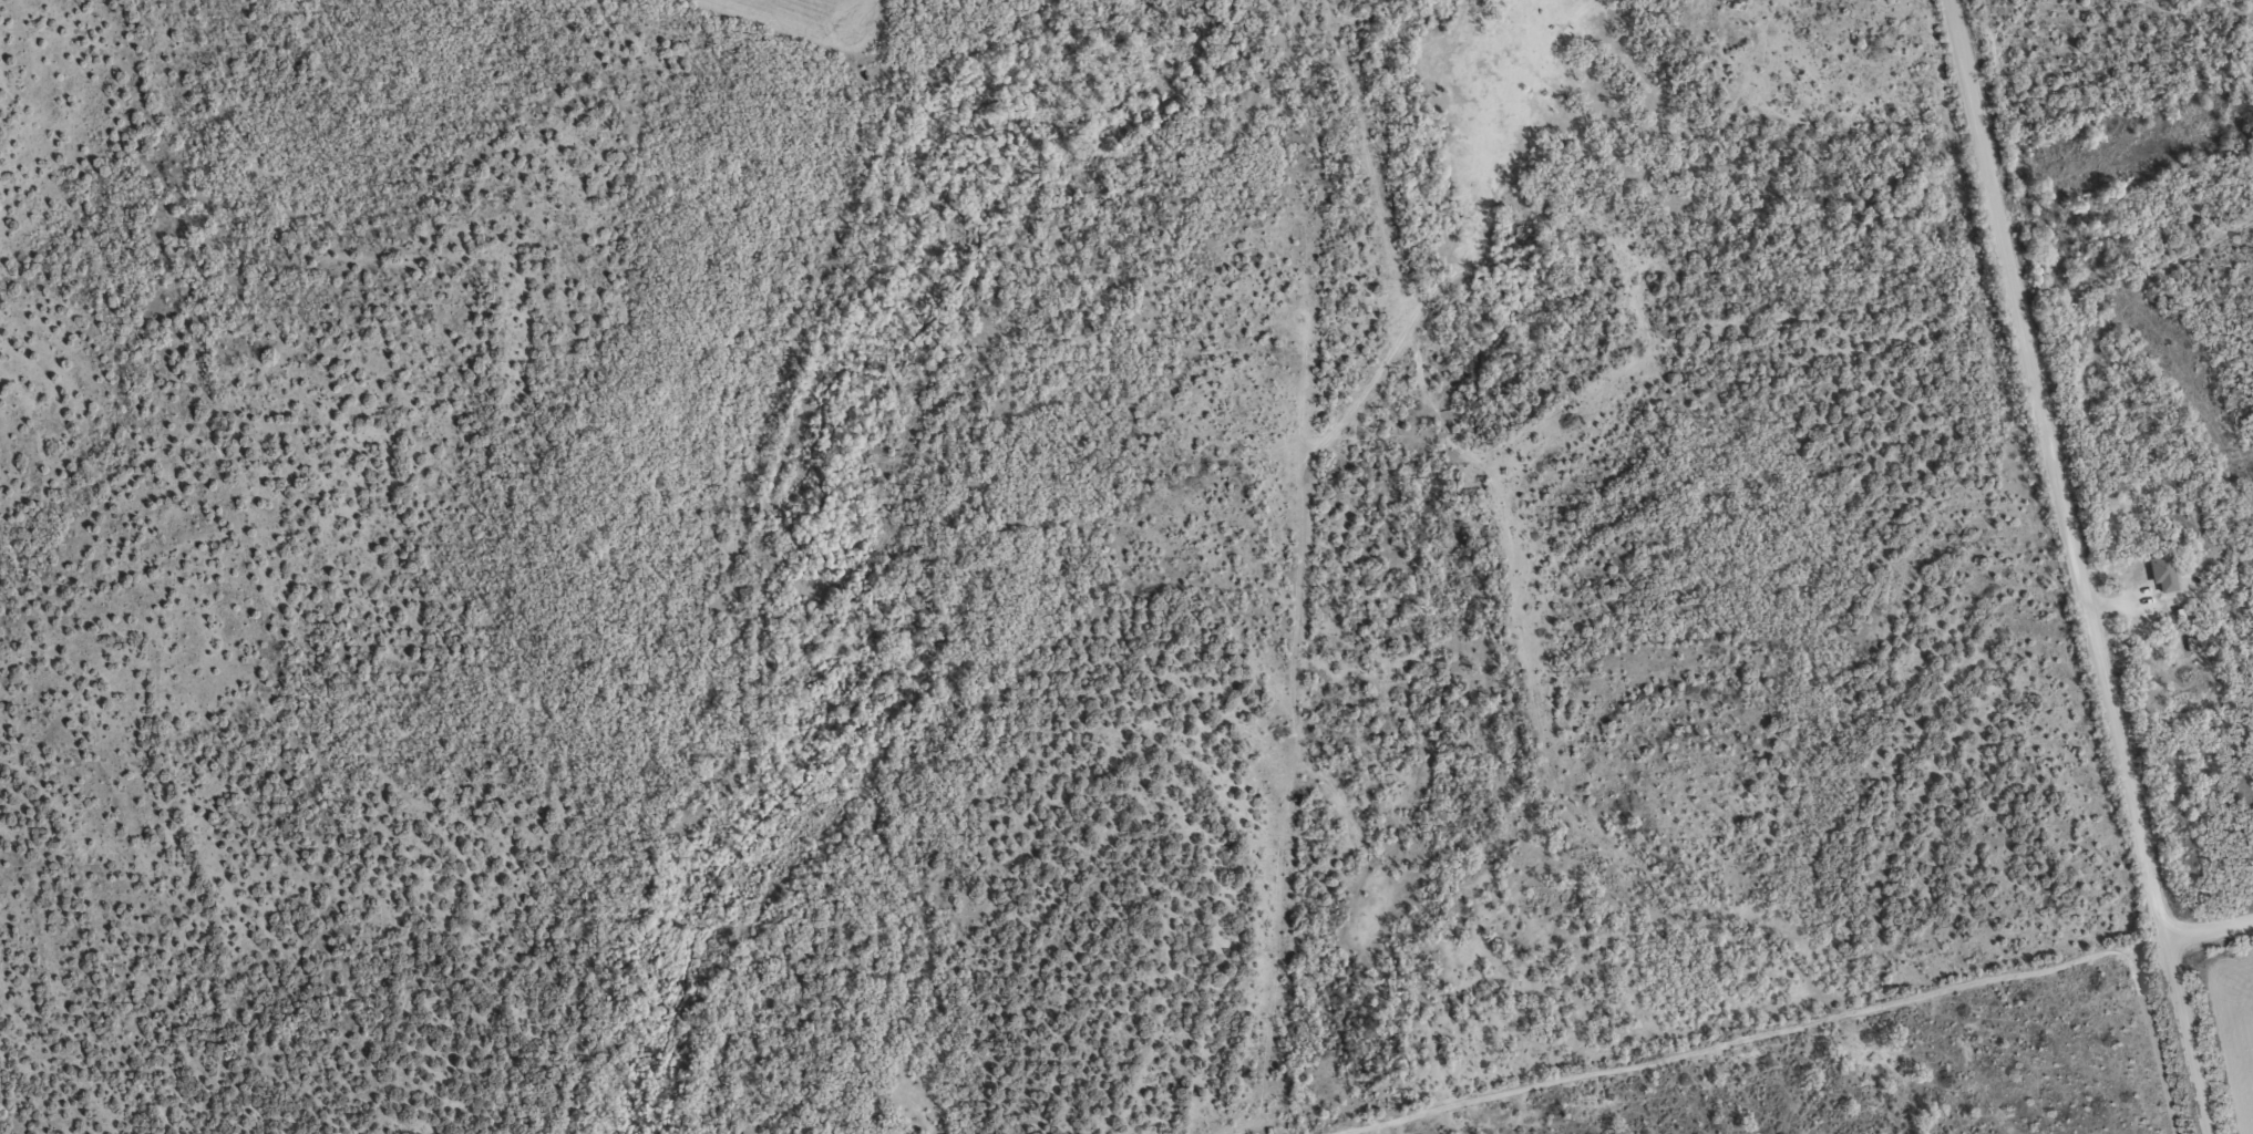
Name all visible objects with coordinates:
road: (2085, 564)
building: (2163, 573)
road: (2209, 925)

